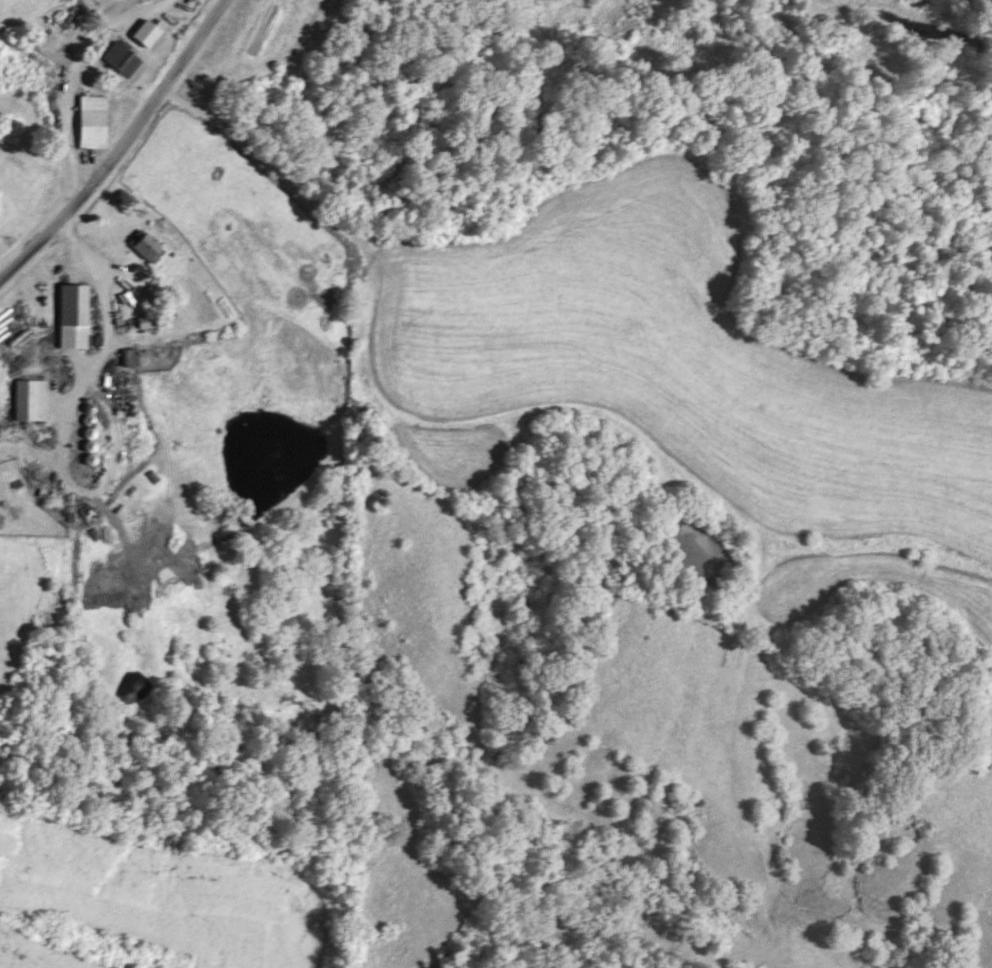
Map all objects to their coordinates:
building: (123, 59)
road: (78, 72)
building: (93, 121)
road: (121, 145)
building: (147, 246)
building: (150, 294)
building: (73, 316)
building: (148, 321)
building: (132, 356)
building: (30, 400)

